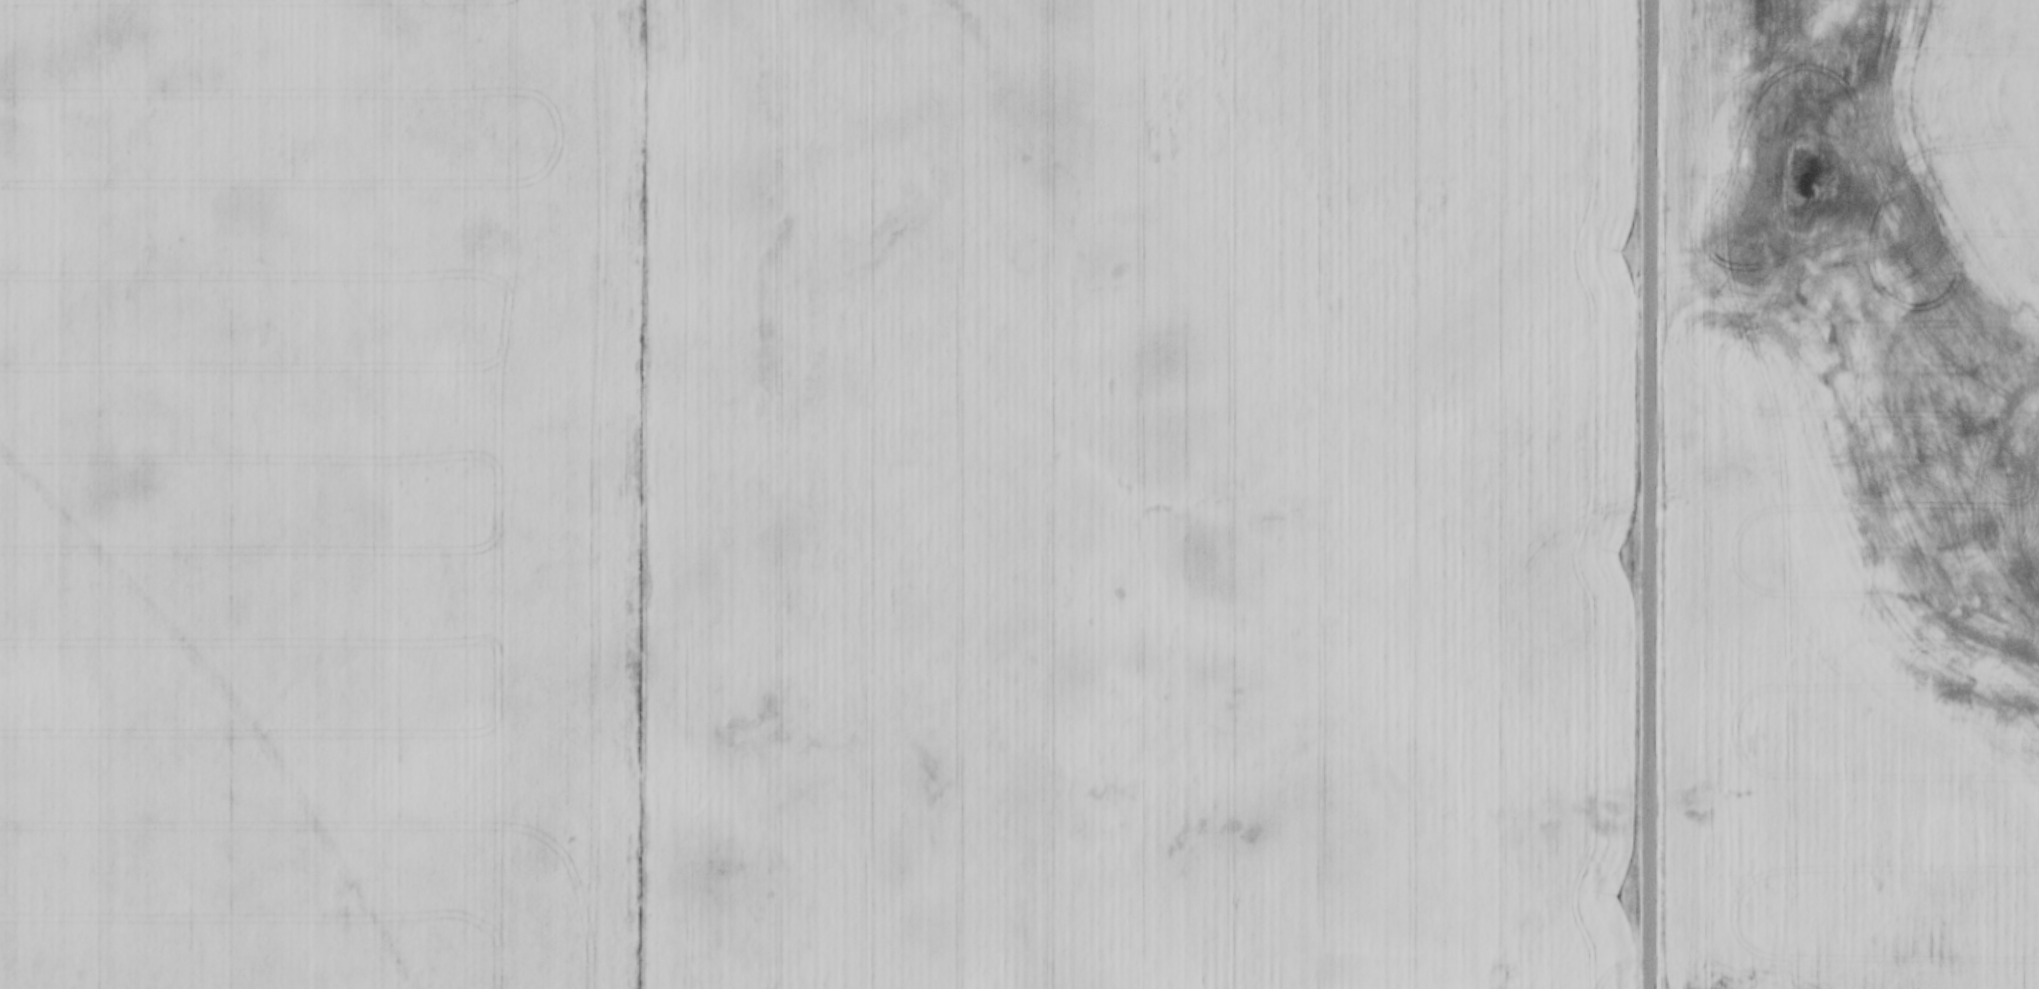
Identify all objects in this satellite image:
road: (1650, 494)

